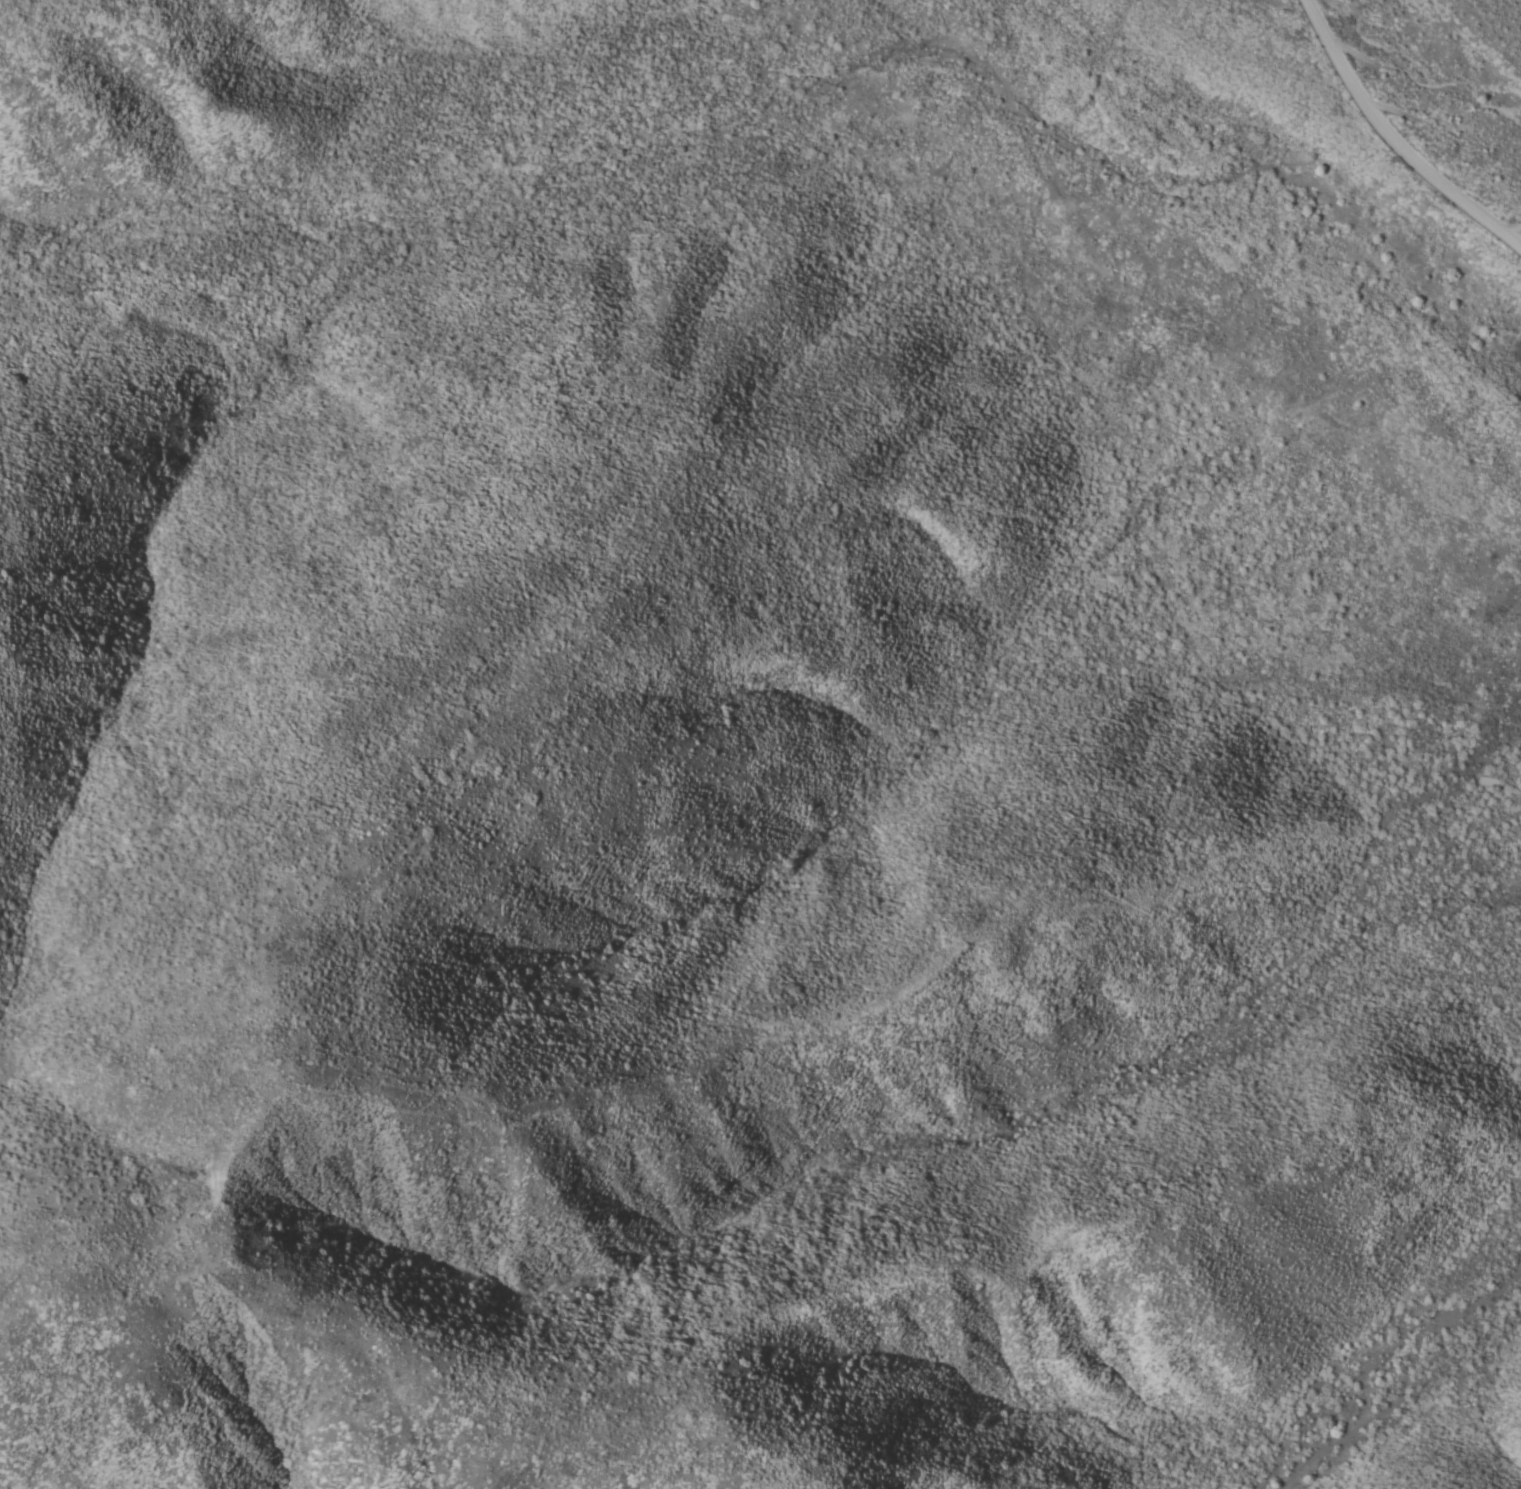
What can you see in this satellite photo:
road: (1391, 141)

